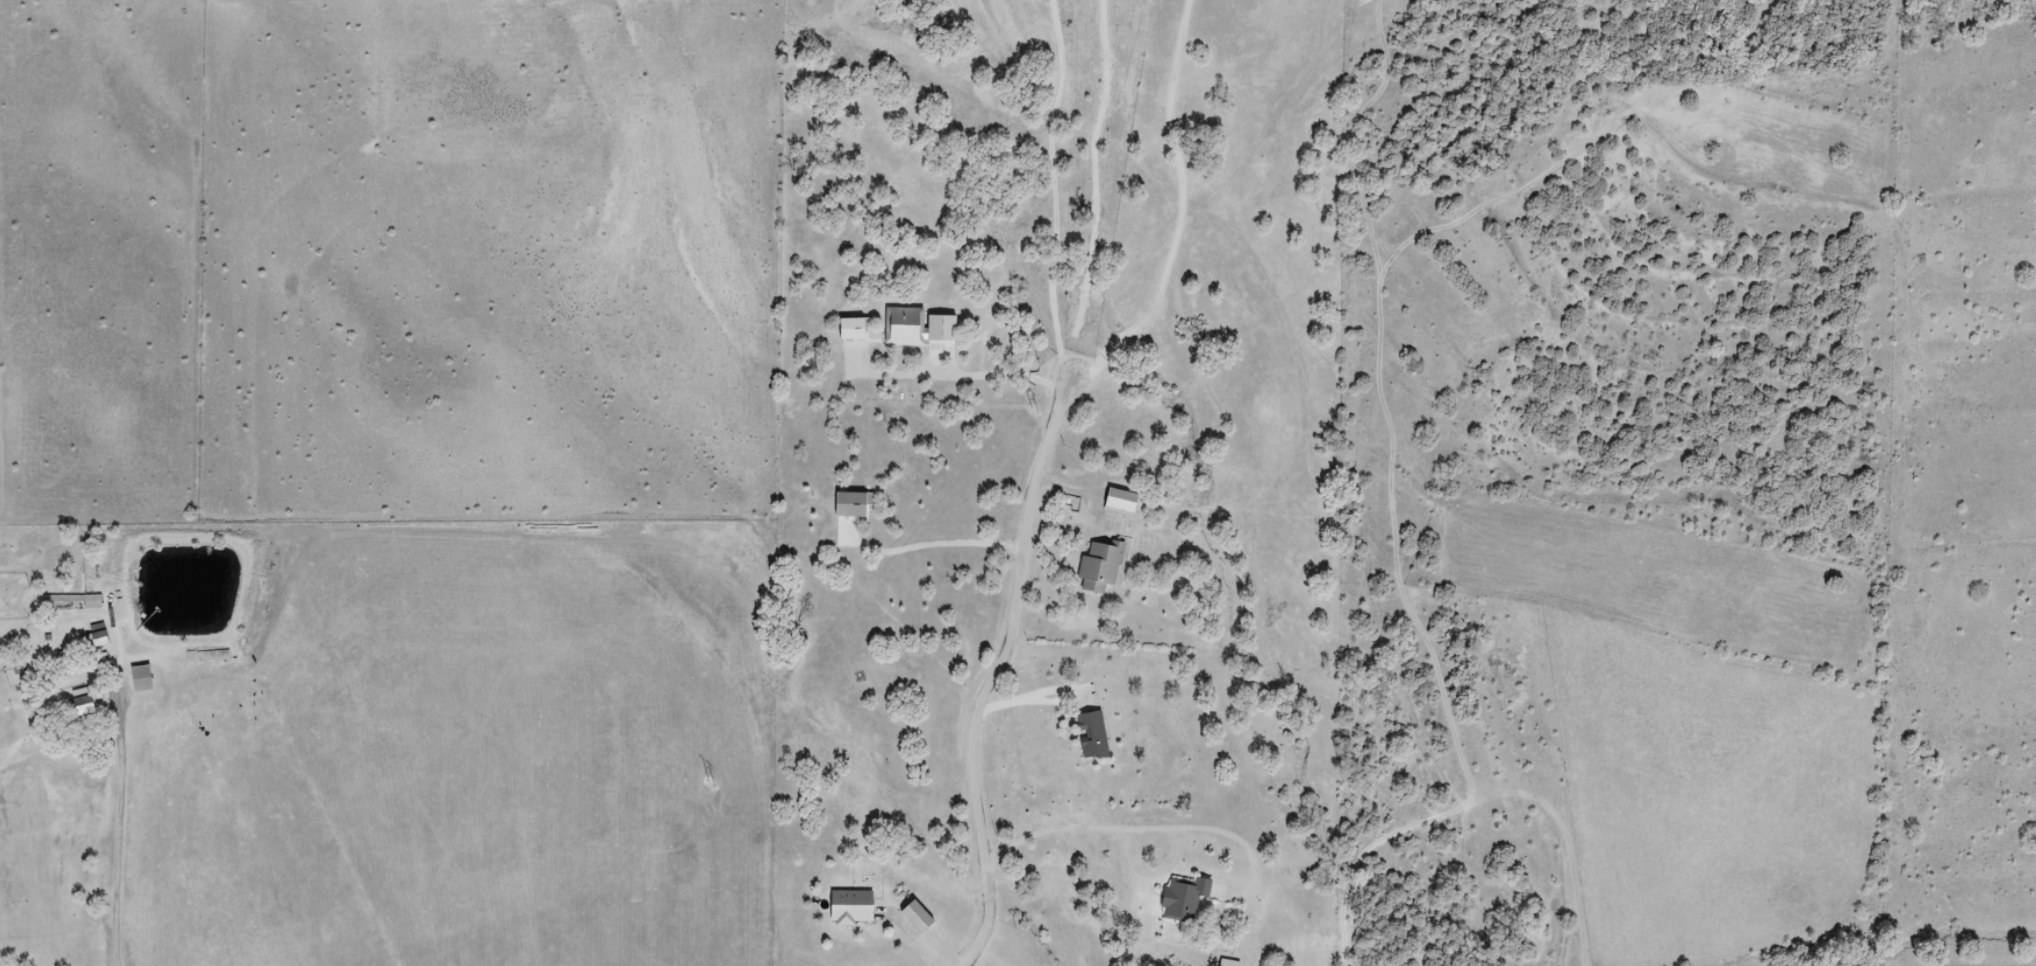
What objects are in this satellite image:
building: (848, 329)
power tower: (1029, 411)
building: (1117, 502)
building: (1097, 567)
building: (70, 602)
building: (96, 636)
building: (207, 656)
road: (998, 673)
building: (139, 679)
building: (78, 704)
building: (1088, 735)
power tower: (711, 785)
road: (125, 841)
road: (57, 900)
building: (1181, 900)
building: (900, 916)
building: (1228, 963)

